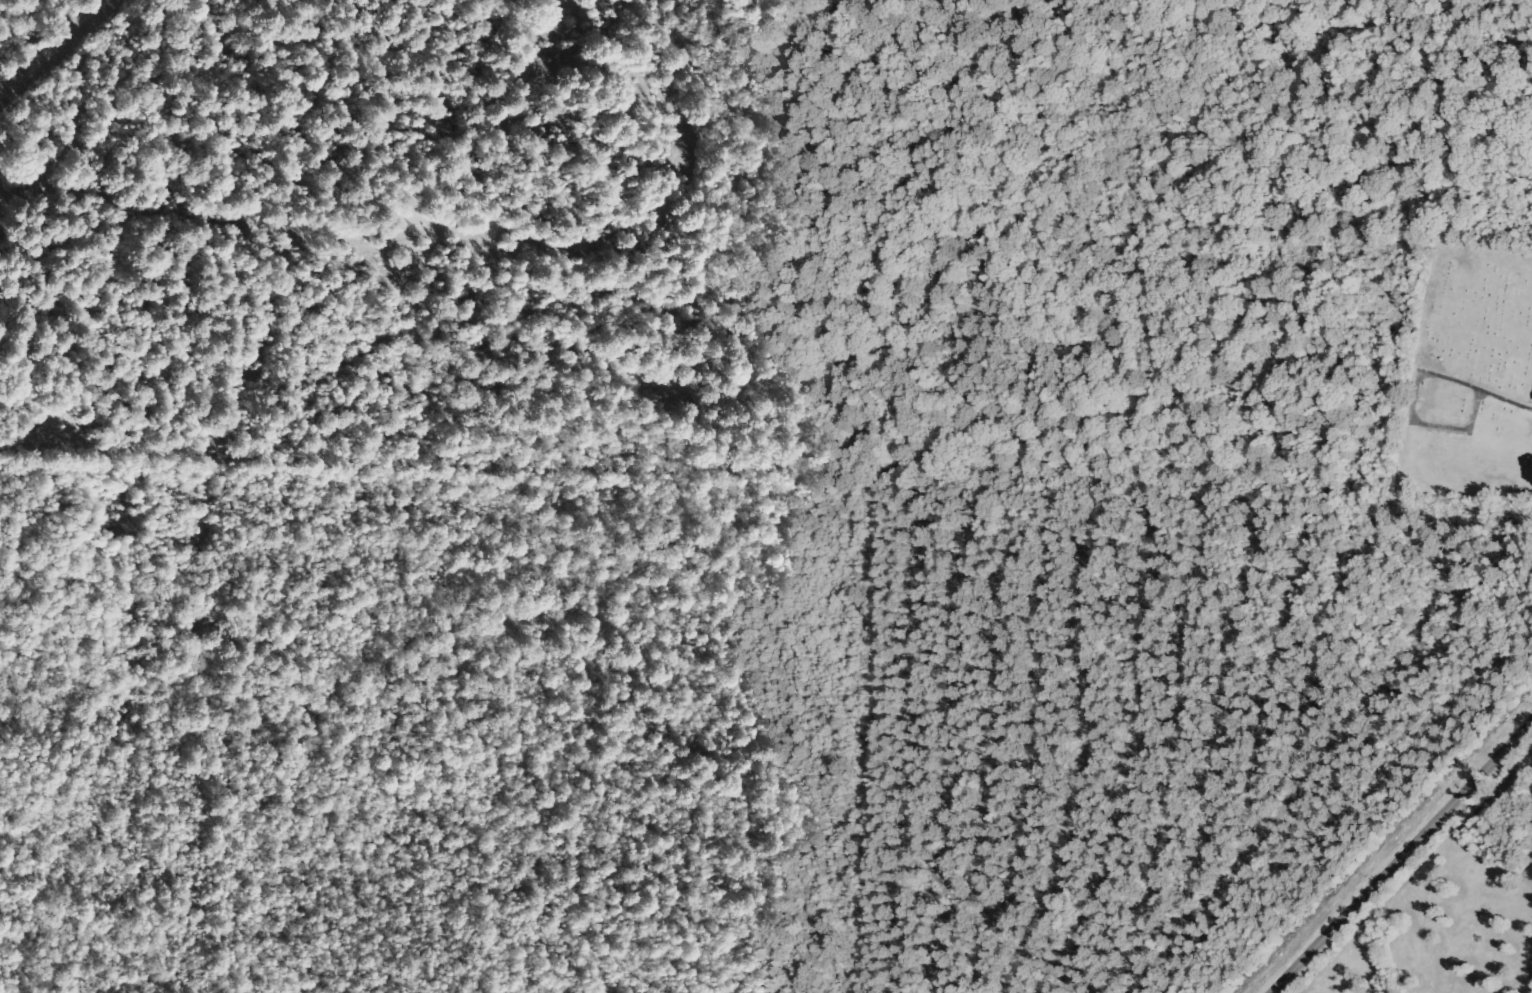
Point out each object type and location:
road: (1436, 895)

